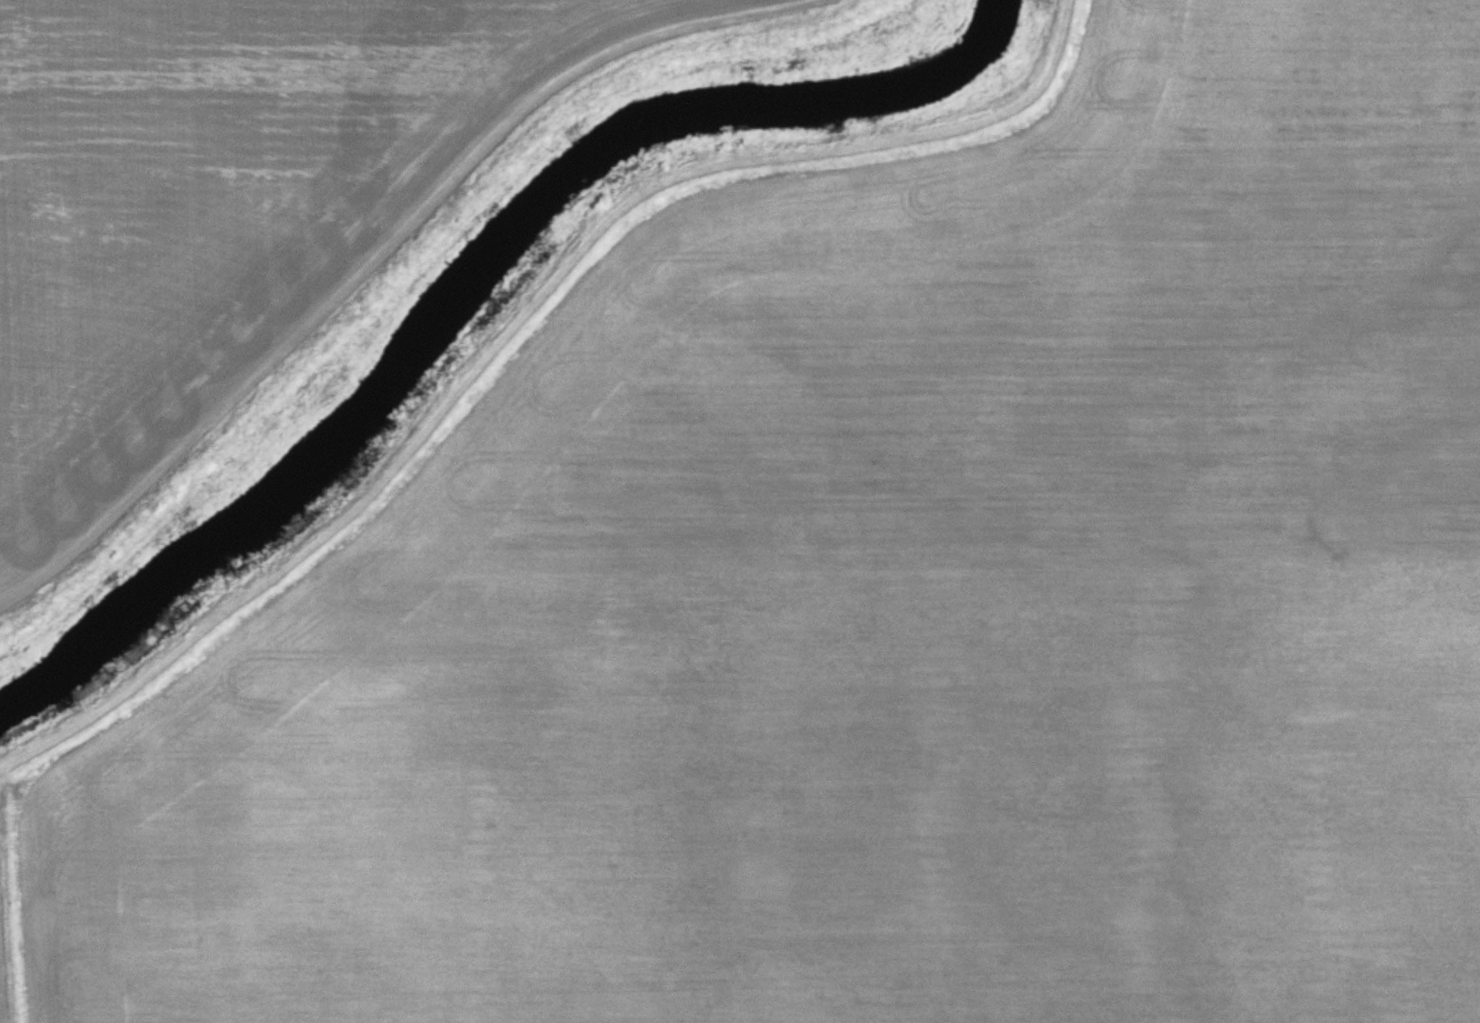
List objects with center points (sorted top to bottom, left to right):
road: (387, 253)
river: (469, 286)

